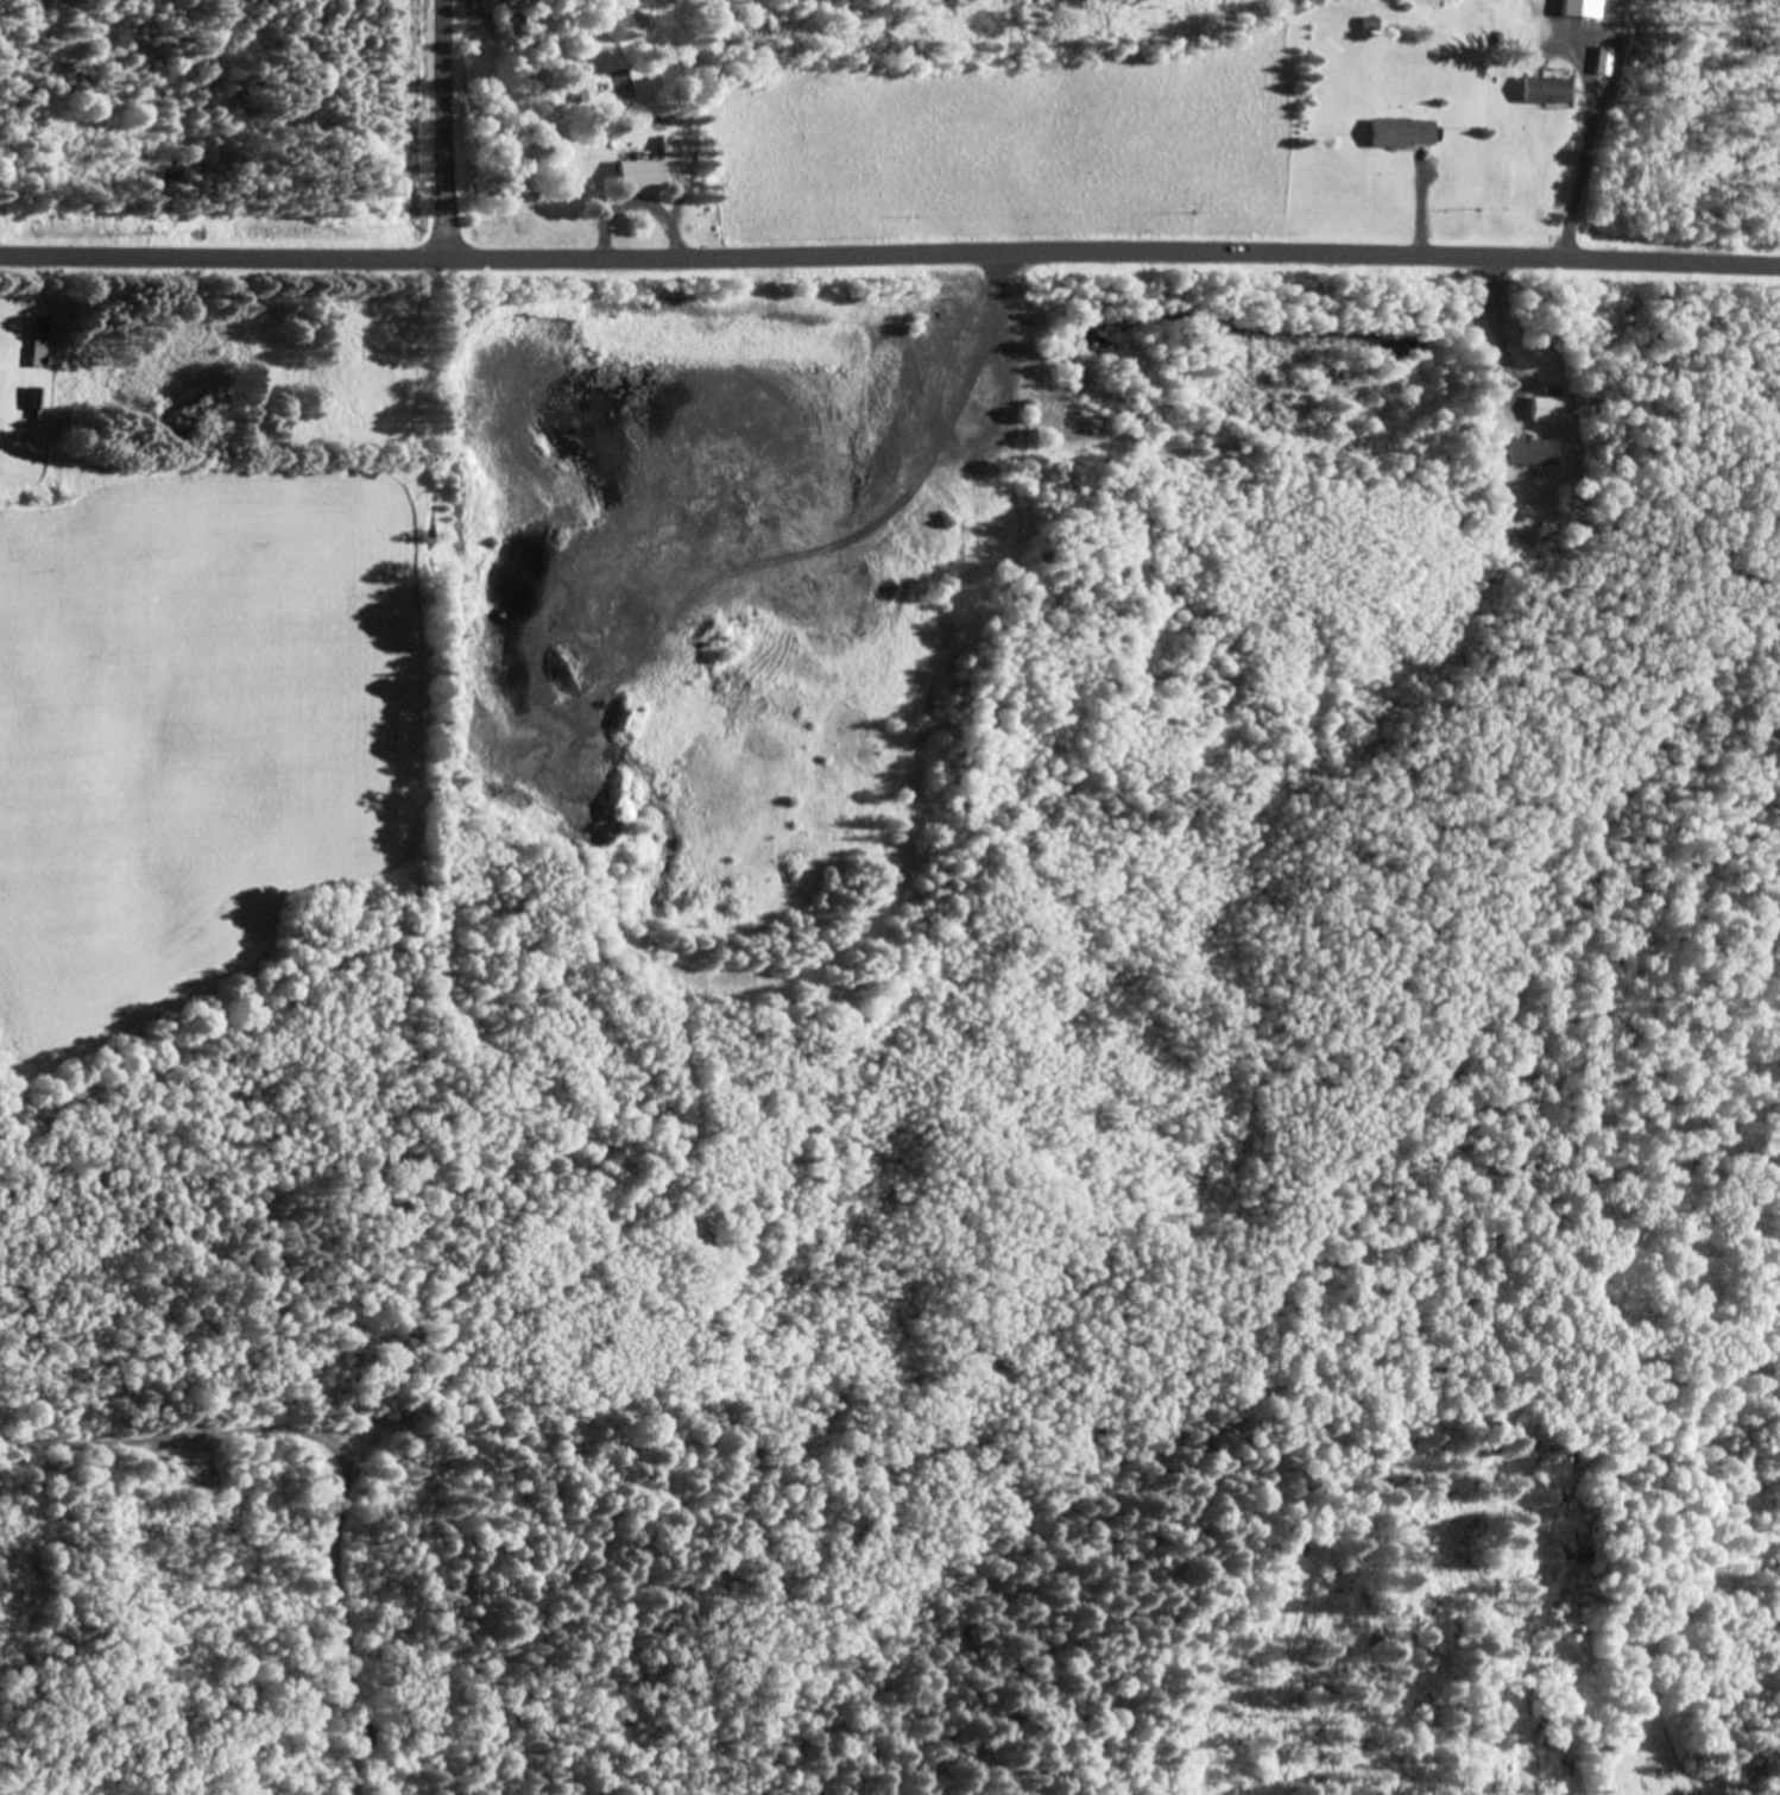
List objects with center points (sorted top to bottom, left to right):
building: (1580, 7)
building: (1370, 21)
building: (1603, 57)
building: (1542, 89)
building: (585, 90)
road: (443, 126)
building: (1400, 132)
building: (654, 164)
road: (890, 244)
building: (44, 340)
building: (39, 401)
building: (1545, 404)
building: (1529, 448)
road: (953, 642)
quarry: (892, 823)

